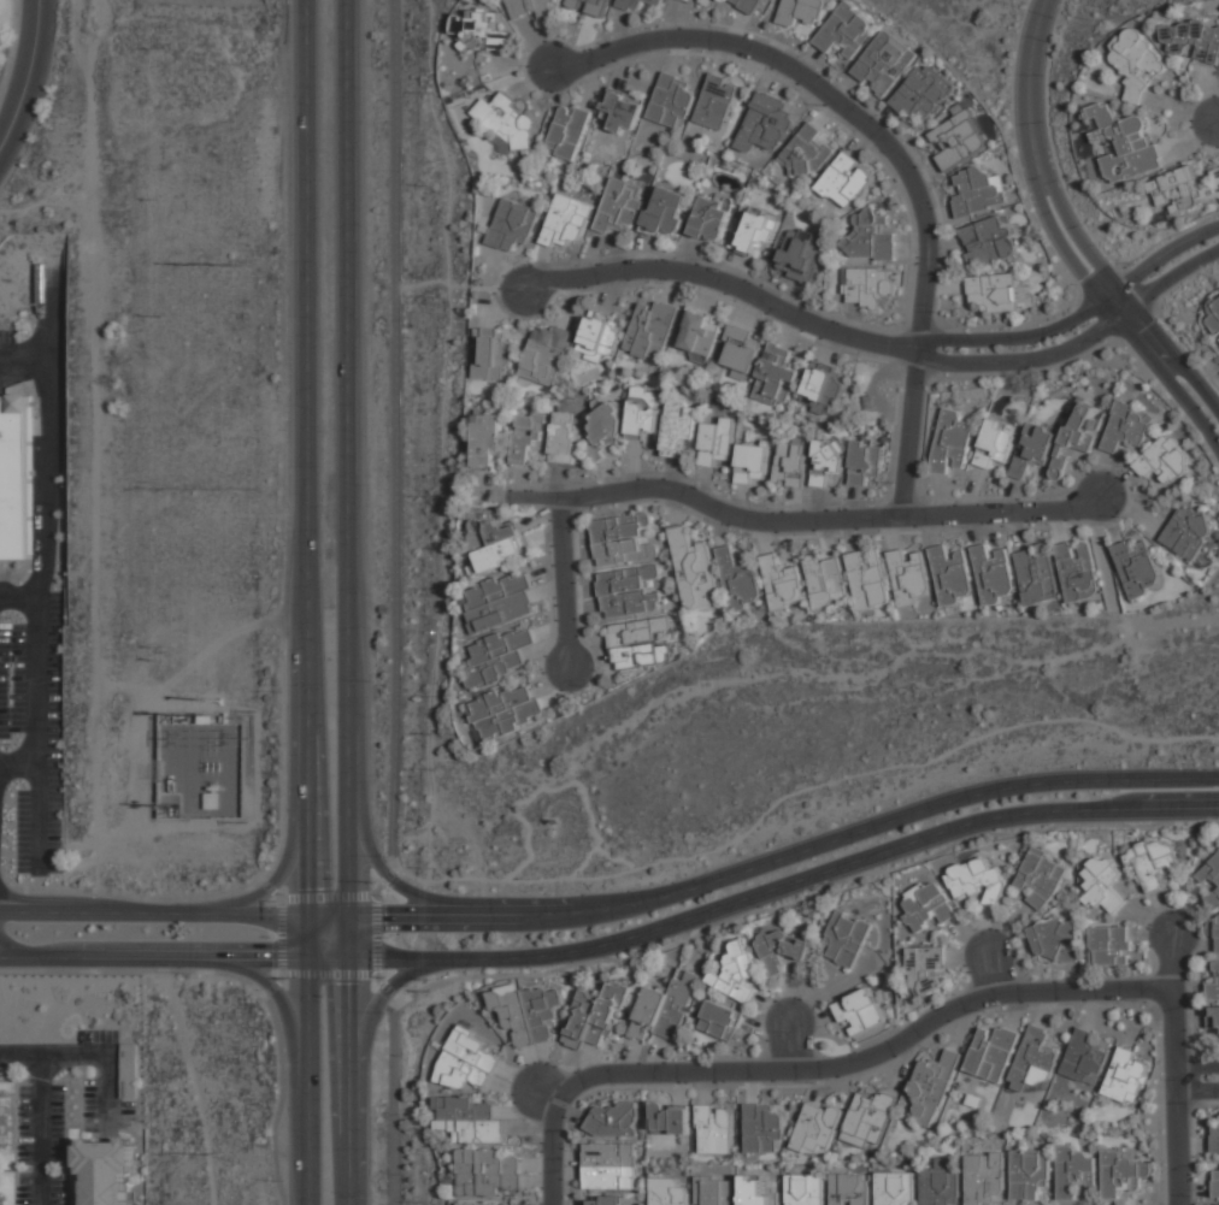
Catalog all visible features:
building: (702, 2)
building: (637, 4)
building: (748, 5)
building: (589, 6)
building: (530, 8)
building: (801, 11)
building: (479, 26)
building: (846, 30)
building: (1191, 39)
building: (1137, 61)
building: (885, 63)
road: (26, 75)
building: (923, 93)
road: (1026, 93)
building: (670, 101)
building: (715, 101)
building: (623, 110)
building: (766, 122)
building: (511, 124)
building: (567, 131)
building: (959, 138)
building: (1125, 144)
road: (890, 152)
building: (806, 153)
building: (846, 181)
building: (1182, 190)
building: (977, 191)
building: (619, 206)
building: (667, 212)
road: (1079, 214)
building: (711, 219)
building: (566, 220)
building: (512, 224)
building: (756, 230)
building: (868, 236)
road: (1077, 238)
building: (987, 240)
building: (801, 254)
road: (1068, 255)
power tower: (235, 266)
power tower: (193, 267)
road: (446, 280)
road: (726, 285)
building: (868, 287)
building: (994, 291)
road: (1124, 299)
road: (1079, 315)
building: (1214, 317)
building: (652, 331)
building: (700, 333)
building: (600, 338)
parking lot: (7, 344)
road: (1082, 344)
road: (24, 352)
building: (742, 352)
building: (490, 355)
building: (546, 355)
road: (1176, 361)
building: (777, 374)
road: (1170, 379)
road: (112, 384)
building: (823, 386)
building: (643, 412)
building: (607, 424)
building: (678, 426)
building: (1127, 427)
road: (395, 433)
building: (1076, 435)
building: (529, 437)
building: (564, 437)
building: (715, 438)
building: (950, 441)
building: (488, 442)
building: (995, 443)
road: (49, 448)
building: (1033, 448)
building: (828, 460)
building: (865, 460)
building: (1165, 460)
building: (790, 462)
building: (752, 463)
building: (13, 477)
road: (805, 521)
building: (1186, 531)
building: (493, 539)
building: (622, 539)
road: (1103, 559)
building: (1138, 568)
building: (694, 569)
building: (1078, 572)
building: (950, 574)
building: (1036, 574)
building: (993, 575)
building: (908, 578)
road: (564, 579)
building: (738, 579)
building: (867, 579)
building: (825, 581)
building: (782, 583)
building: (629, 591)
road: (310, 602)
road: (349, 602)
building: (499, 602)
road: (1117, 614)
road: (1168, 624)
building: (638, 643)
building: (499, 656)
power tower: (222, 701)
building: (505, 711)
building: (205, 719)
road: (37, 730)
parking lot: (33, 737)
road: (17, 760)
power substation: (200, 764)
road: (1091, 779)
building: (211, 801)
road: (324, 807)
road: (1095, 808)
road: (377, 862)
building: (1152, 862)
building: (1041, 878)
road: (278, 879)
building: (1212, 881)
building: (977, 882)
building: (1103, 885)
road: (270, 888)
traffic signals: (311, 888)
traffic signals: (328, 888)
road: (665, 896)
road: (807, 897)
building: (927, 904)
road: (173, 911)
road: (376, 918)
traffic signals: (385, 918)
road: (666, 925)
building: (1217, 933)
road: (281, 935)
building: (847, 938)
building: (1054, 939)
building: (1112, 946)
building: (779, 950)
road: (173, 955)
traffic signals: (272, 956)
road: (1174, 959)
building: (925, 969)
road: (990, 970)
building: (737, 974)
traffic signals: (329, 984)
traffic signals: (348, 984)
road: (275, 985)
building: (1213, 985)
road: (388, 990)
road: (283, 1006)
building: (662, 1009)
building: (529, 1012)
building: (859, 1012)
building: (595, 1015)
building: (1213, 1018)
building: (720, 1020)
road: (790, 1049)
road: (331, 1050)
building: (991, 1052)
road: (363, 1057)
building: (1084, 1059)
building: (1033, 1061)
building: (466, 1062)
road: (854, 1062)
building: (1125, 1076)
road: (1197, 1080)
building: (932, 1085)
road: (1177, 1097)
road: (393, 1100)
road: (41, 1106)
building: (870, 1116)
building: (670, 1118)
building: (2, 1120)
building: (469, 1120)
building: (613, 1120)
building: (713, 1128)
building: (762, 1128)
building: (818, 1128)
building: (1214, 1138)
power tower: (212, 1146)
road: (552, 1151)
building: (611, 1166)
building: (104, 1169)
building: (1073, 1170)
building: (485, 1172)
building: (1029, 1172)
building: (1123, 1174)
building: (984, 1176)
building: (940, 1183)
building: (1215, 1183)
building: (895, 1188)
building: (803, 1189)
building: (849, 1189)
building: (714, 1191)
building: (758, 1191)
building: (666, 1192)
building: (2, 1199)
building: (603, 1200)
building: (477, 1203)
building: (1215, 1204)

